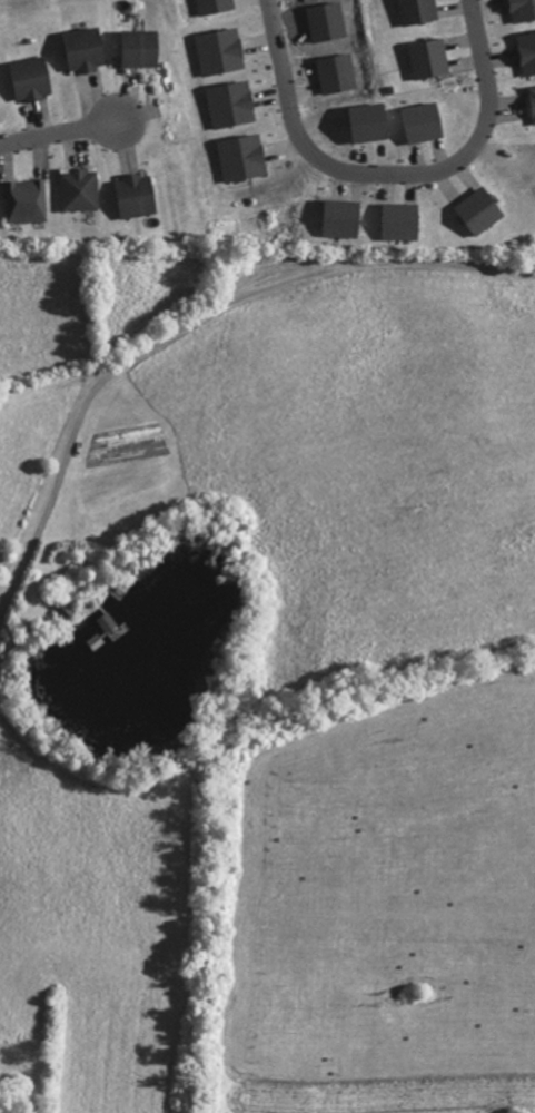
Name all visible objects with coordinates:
building: (416, 11)
building: (136, 48)
building: (81, 50)
building: (29, 79)
building: (531, 102)
road: (58, 132)
road: (393, 174)
building: (79, 189)
building: (133, 195)
building: (26, 200)
road: (170, 303)
road: (33, 362)

